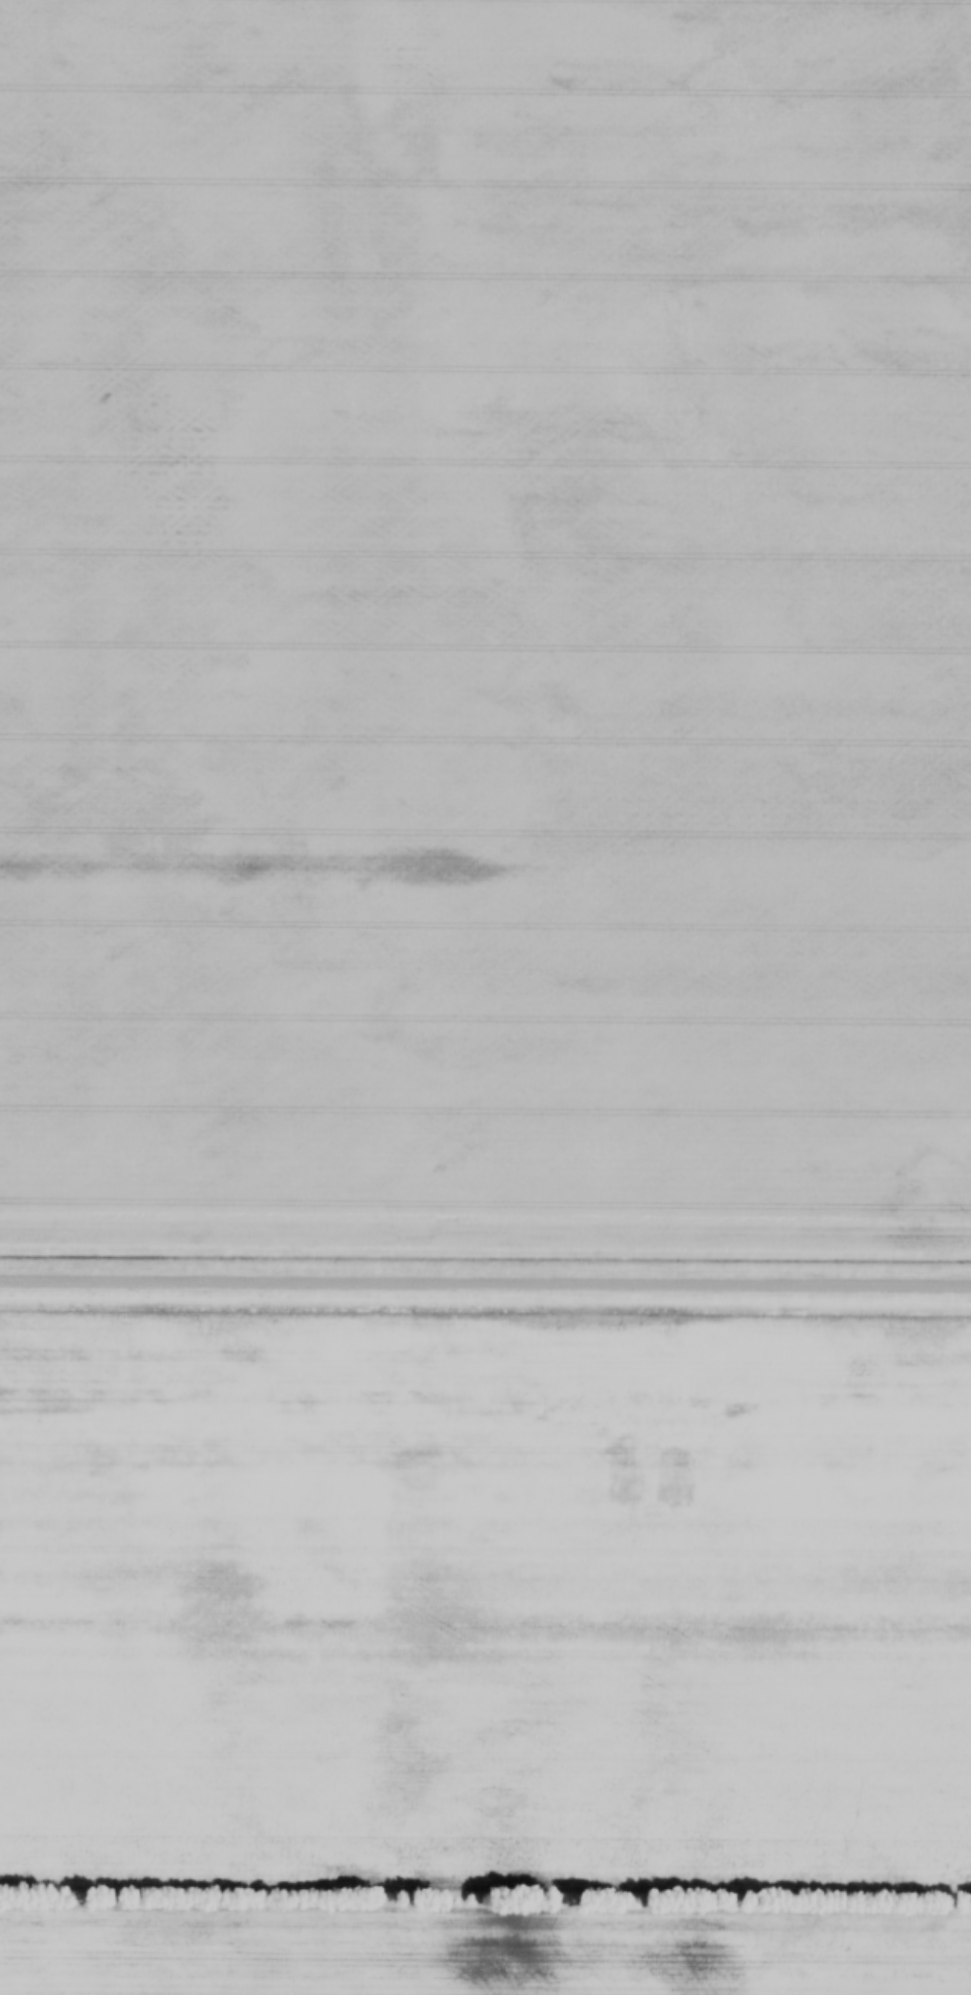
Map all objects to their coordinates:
road: (485, 1285)

